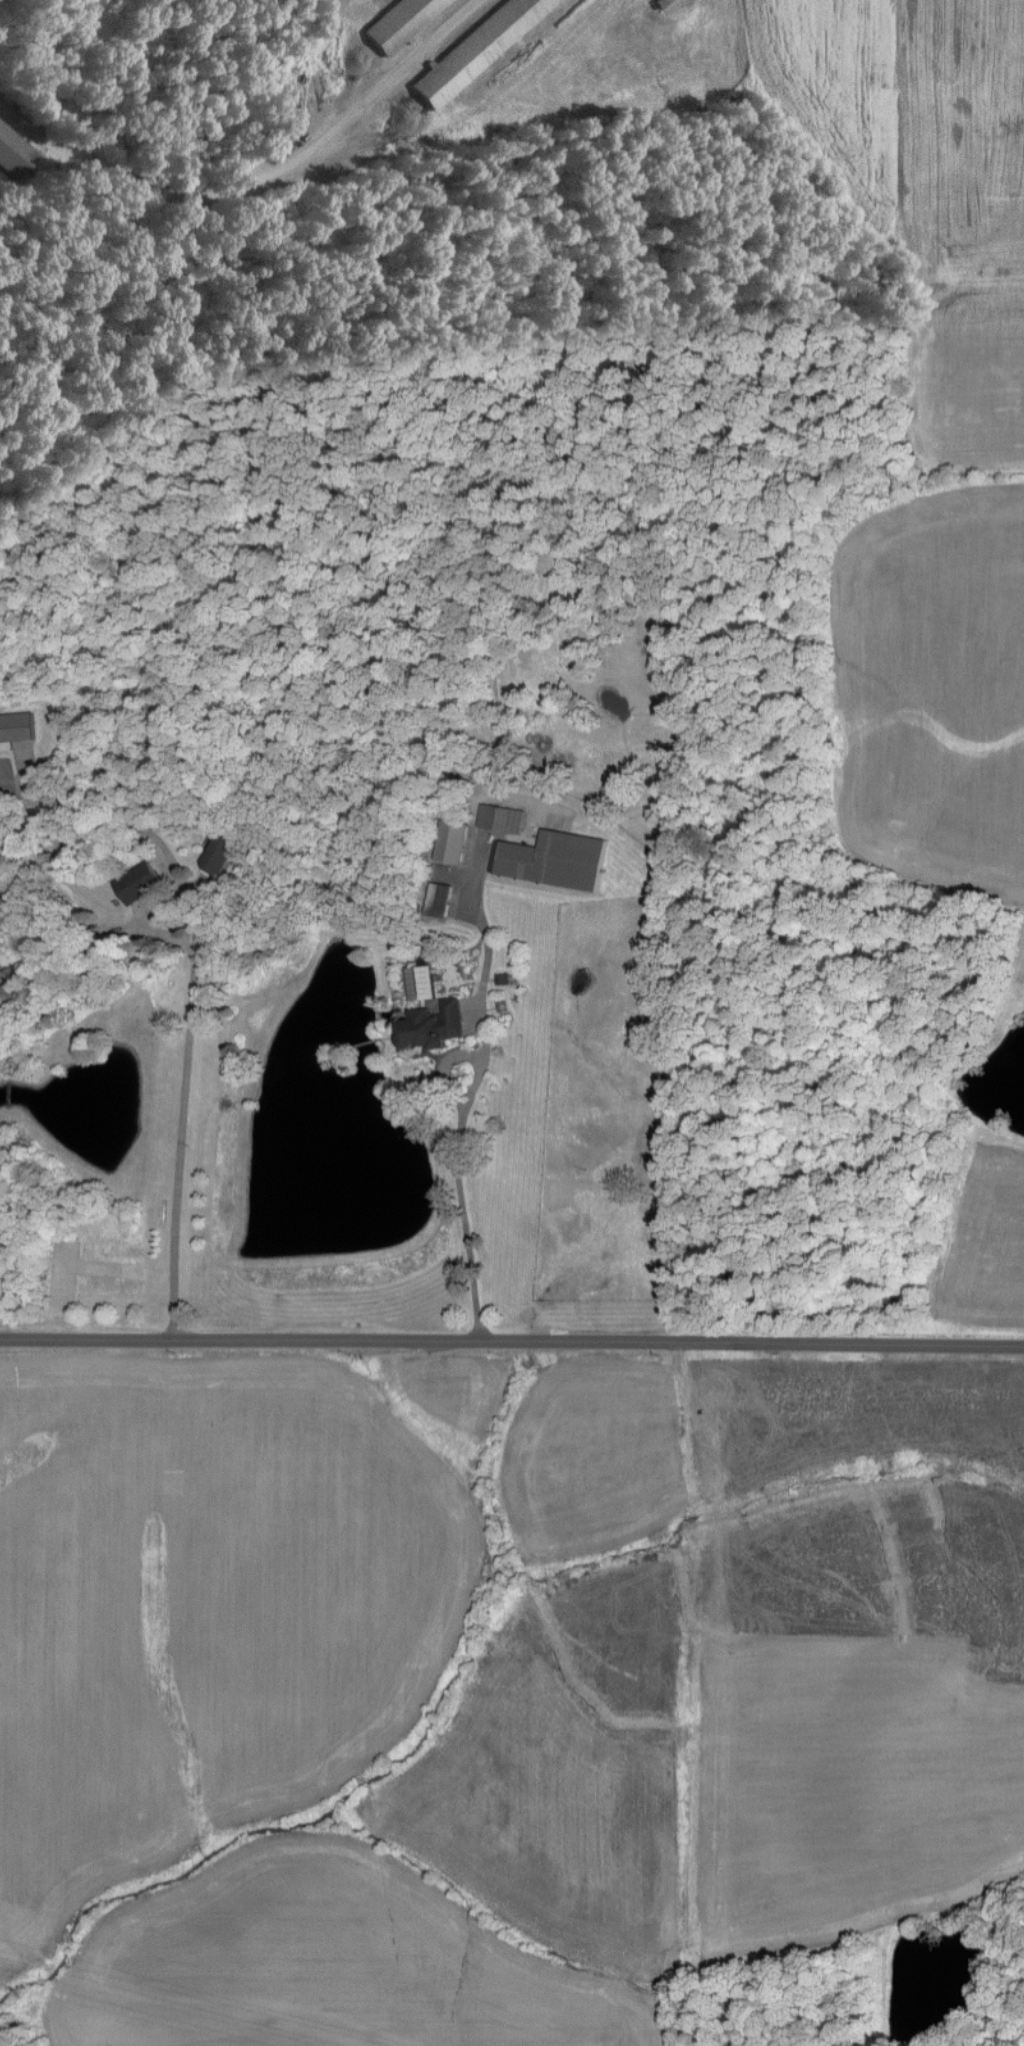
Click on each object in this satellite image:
building: (396, 22)
building: (474, 49)
road: (258, 182)
building: (15, 728)
building: (499, 818)
building: (451, 841)
building: (220, 852)
building: (552, 858)
building: (144, 879)
building: (438, 899)
building: (427, 1013)
road: (474, 1088)
road: (181, 1145)
road: (512, 1339)

